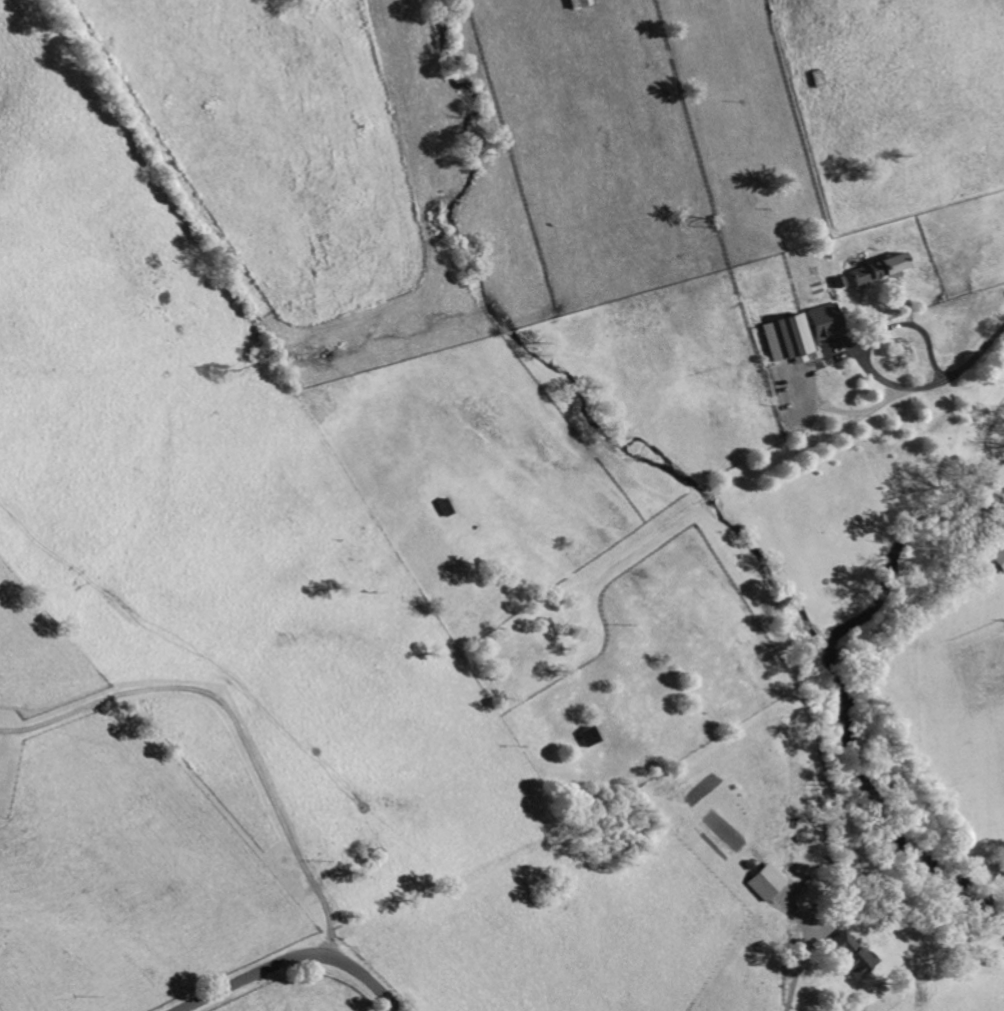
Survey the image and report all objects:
building: (879, 269)
building: (825, 322)
building: (787, 339)
road: (870, 341)
road: (977, 357)
road: (849, 413)
building: (999, 560)
road: (235, 723)
building: (765, 883)
building: (850, 954)
road: (292, 961)
road: (794, 979)

